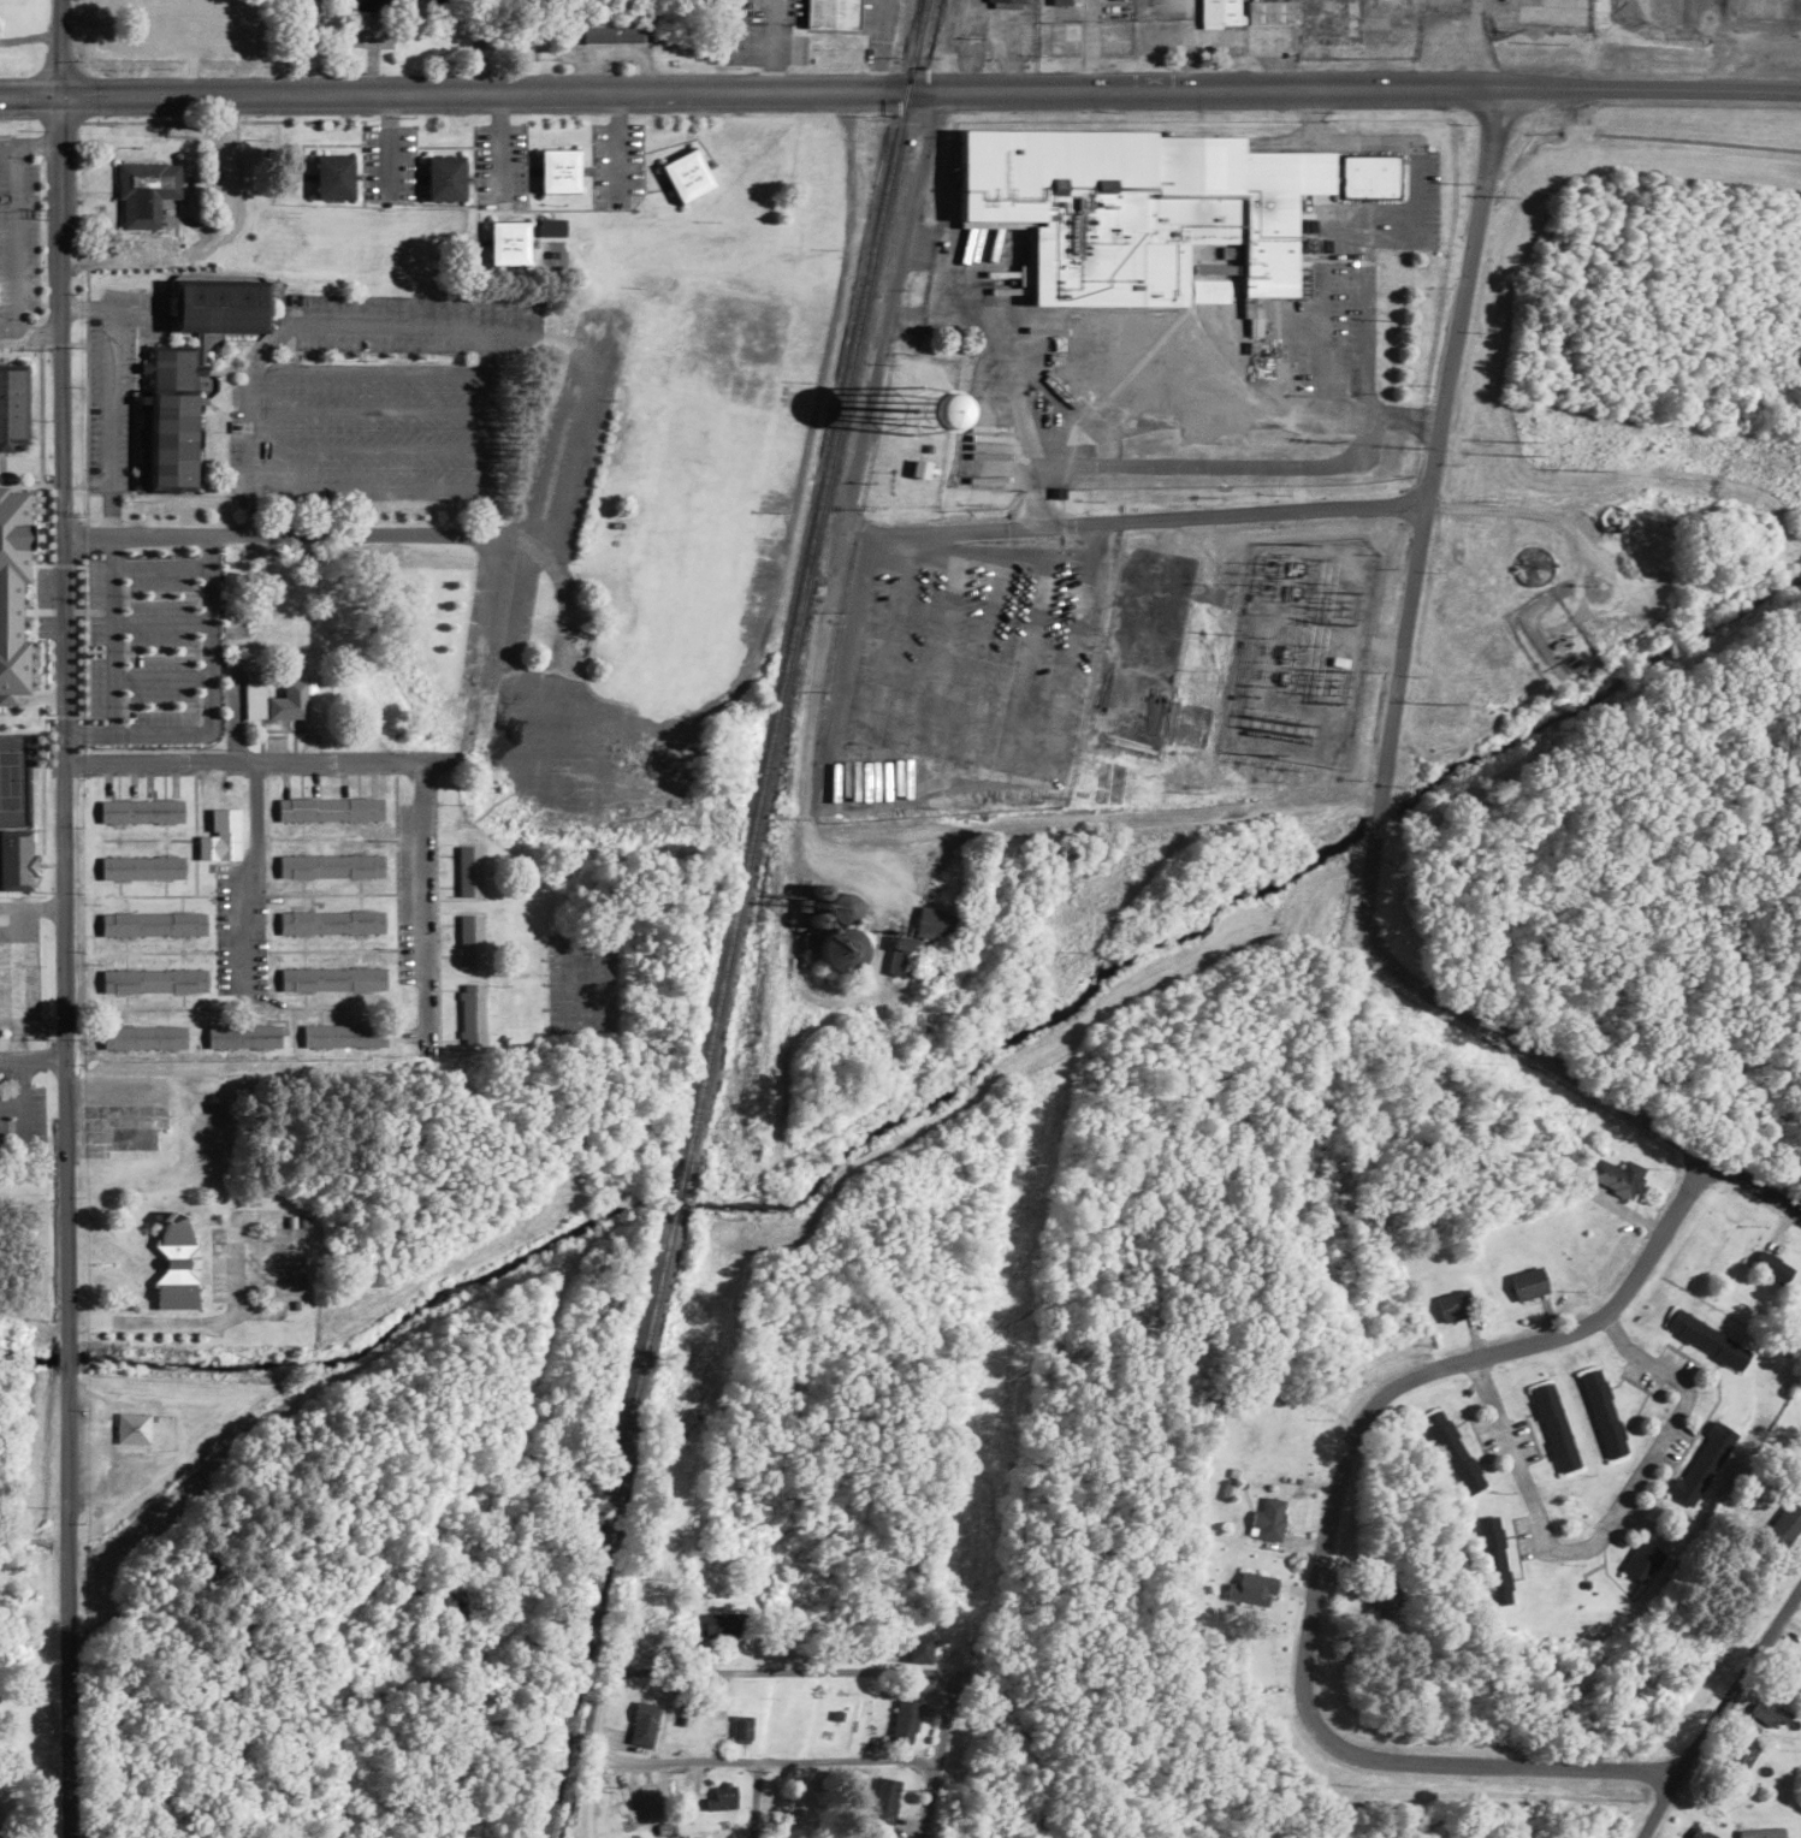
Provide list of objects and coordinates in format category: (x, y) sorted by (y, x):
building: (1245, 12)
building: (611, 34)
road: (481, 47)
road: (1352, 87)
road: (451, 94)
building: (559, 171)
building: (334, 177)
building: (687, 177)
building: (445, 178)
building: (144, 191)
building: (1150, 211)
building: (551, 229)
building: (509, 244)
building: (218, 306)
building: (13, 402)
building: (168, 416)
water tower: (949, 416)
road: (16, 468)
building: (919, 469)
road: (29, 485)
road: (1131, 520)
road: (340, 535)
building: (13, 586)
road: (505, 675)
building: (274, 698)
building: (565, 729)
road: (801, 755)
road: (380, 760)
road: (1381, 766)
park: (19, 782)
building: (330, 810)
building: (140, 811)
building: (220, 836)
building: (16, 859)
road: (247, 864)
building: (330, 865)
building: (141, 867)
building: (466, 871)
road: (61, 919)
railway: (731, 919)
building: (330, 921)
building: (153, 924)
building: (938, 925)
building: (469, 938)
building: (843, 949)
building: (904, 955)
building: (332, 978)
building: (153, 980)
building: (470, 1014)
building: (243, 1036)
building: (344, 1036)
building: (142, 1037)
road: (31, 1059)
building: (1616, 1178)
parking lot: (254, 1261)
building: (174, 1263)
building: (1772, 1268)
building: (1529, 1283)
road: (277, 1304)
building: (1455, 1305)
road: (235, 1306)
building: (1707, 1340)
building: (1602, 1413)
building: (131, 1428)
building: (1554, 1428)
building: (1453, 1453)
building: (1702, 1464)
building: (1269, 1518)
building: (1784, 1524)
road: (1328, 1529)
building: (1493, 1560)
building: (1641, 1561)
building: (1251, 1589)
building: (1385, 1606)
building: (723, 1625)
building: (919, 1649)
road: (733, 1672)
building: (1791, 1673)
road: (1716, 1709)
building: (1770, 1714)
building: (905, 1723)
building: (644, 1724)
building: (741, 1729)
road: (934, 1756)
building: (1737, 1759)
railway: (564, 1761)
road: (772, 1763)
building: (723, 1797)
building: (884, 1800)
road: (751, 1801)
building: (646, 1803)
building: (1698, 1833)

